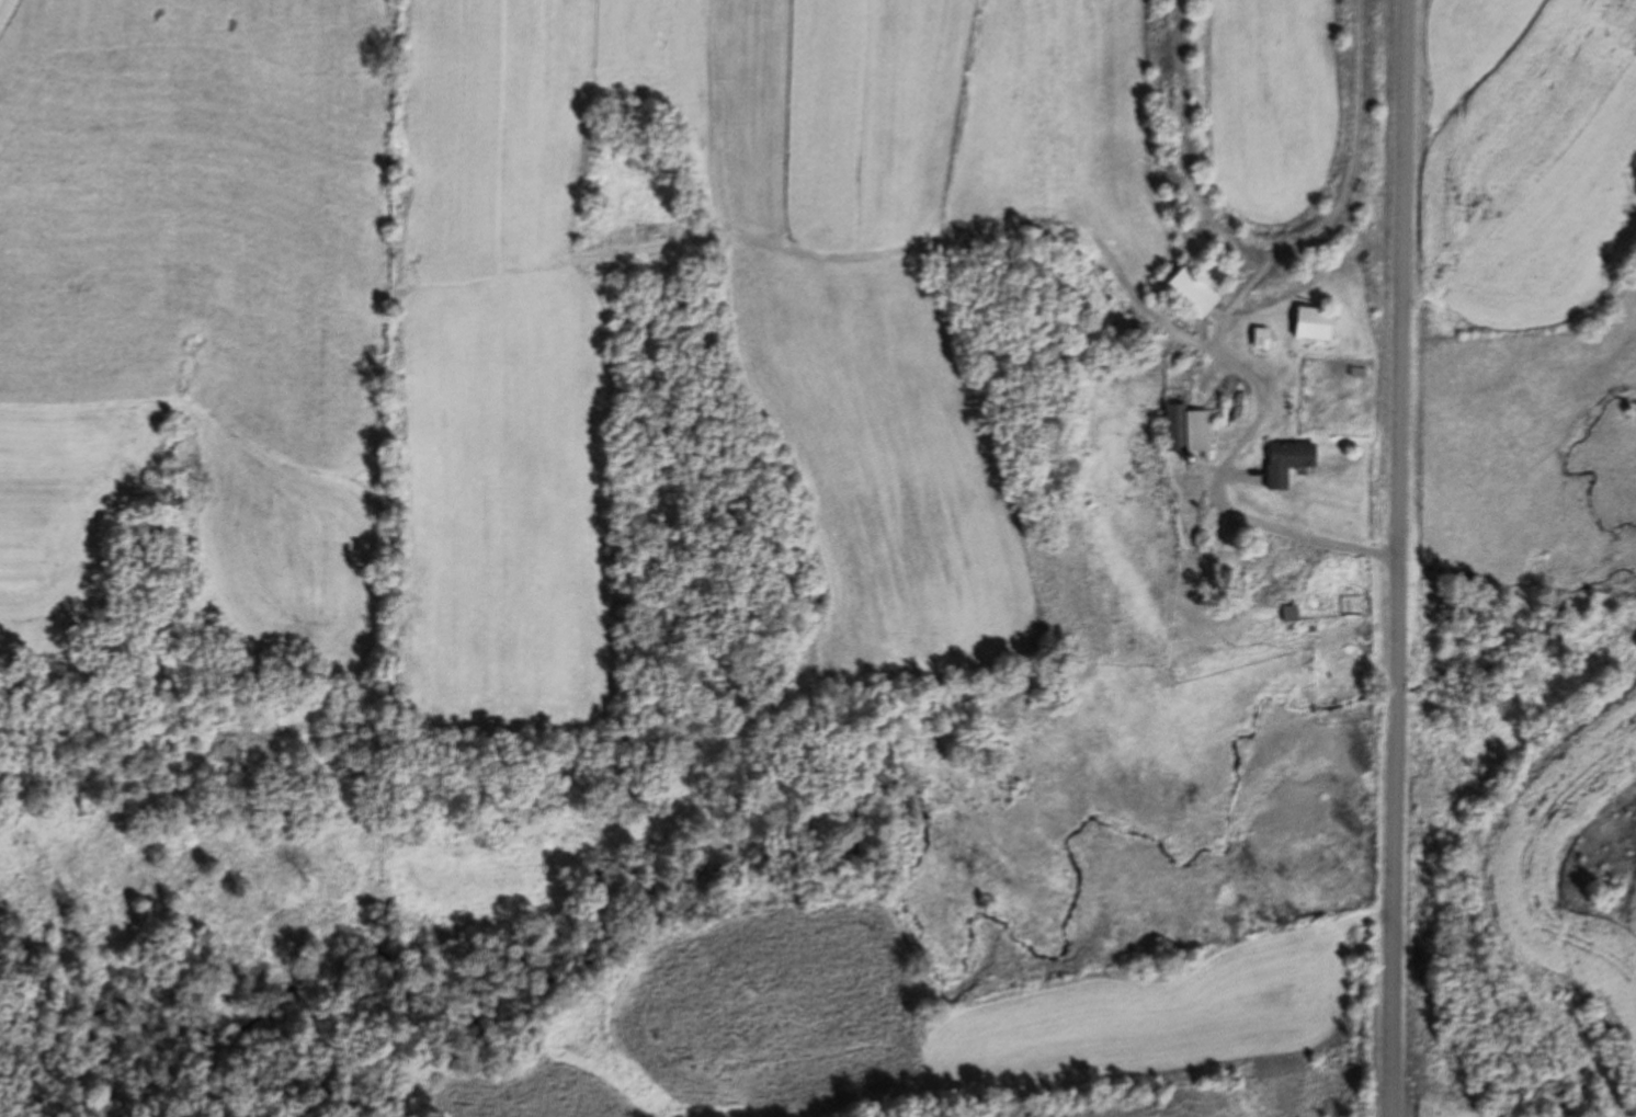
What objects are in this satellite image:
building: (1192, 292)
building: (1314, 323)
building: (1262, 339)
building: (1198, 431)
building: (1287, 461)
road: (1400, 558)

